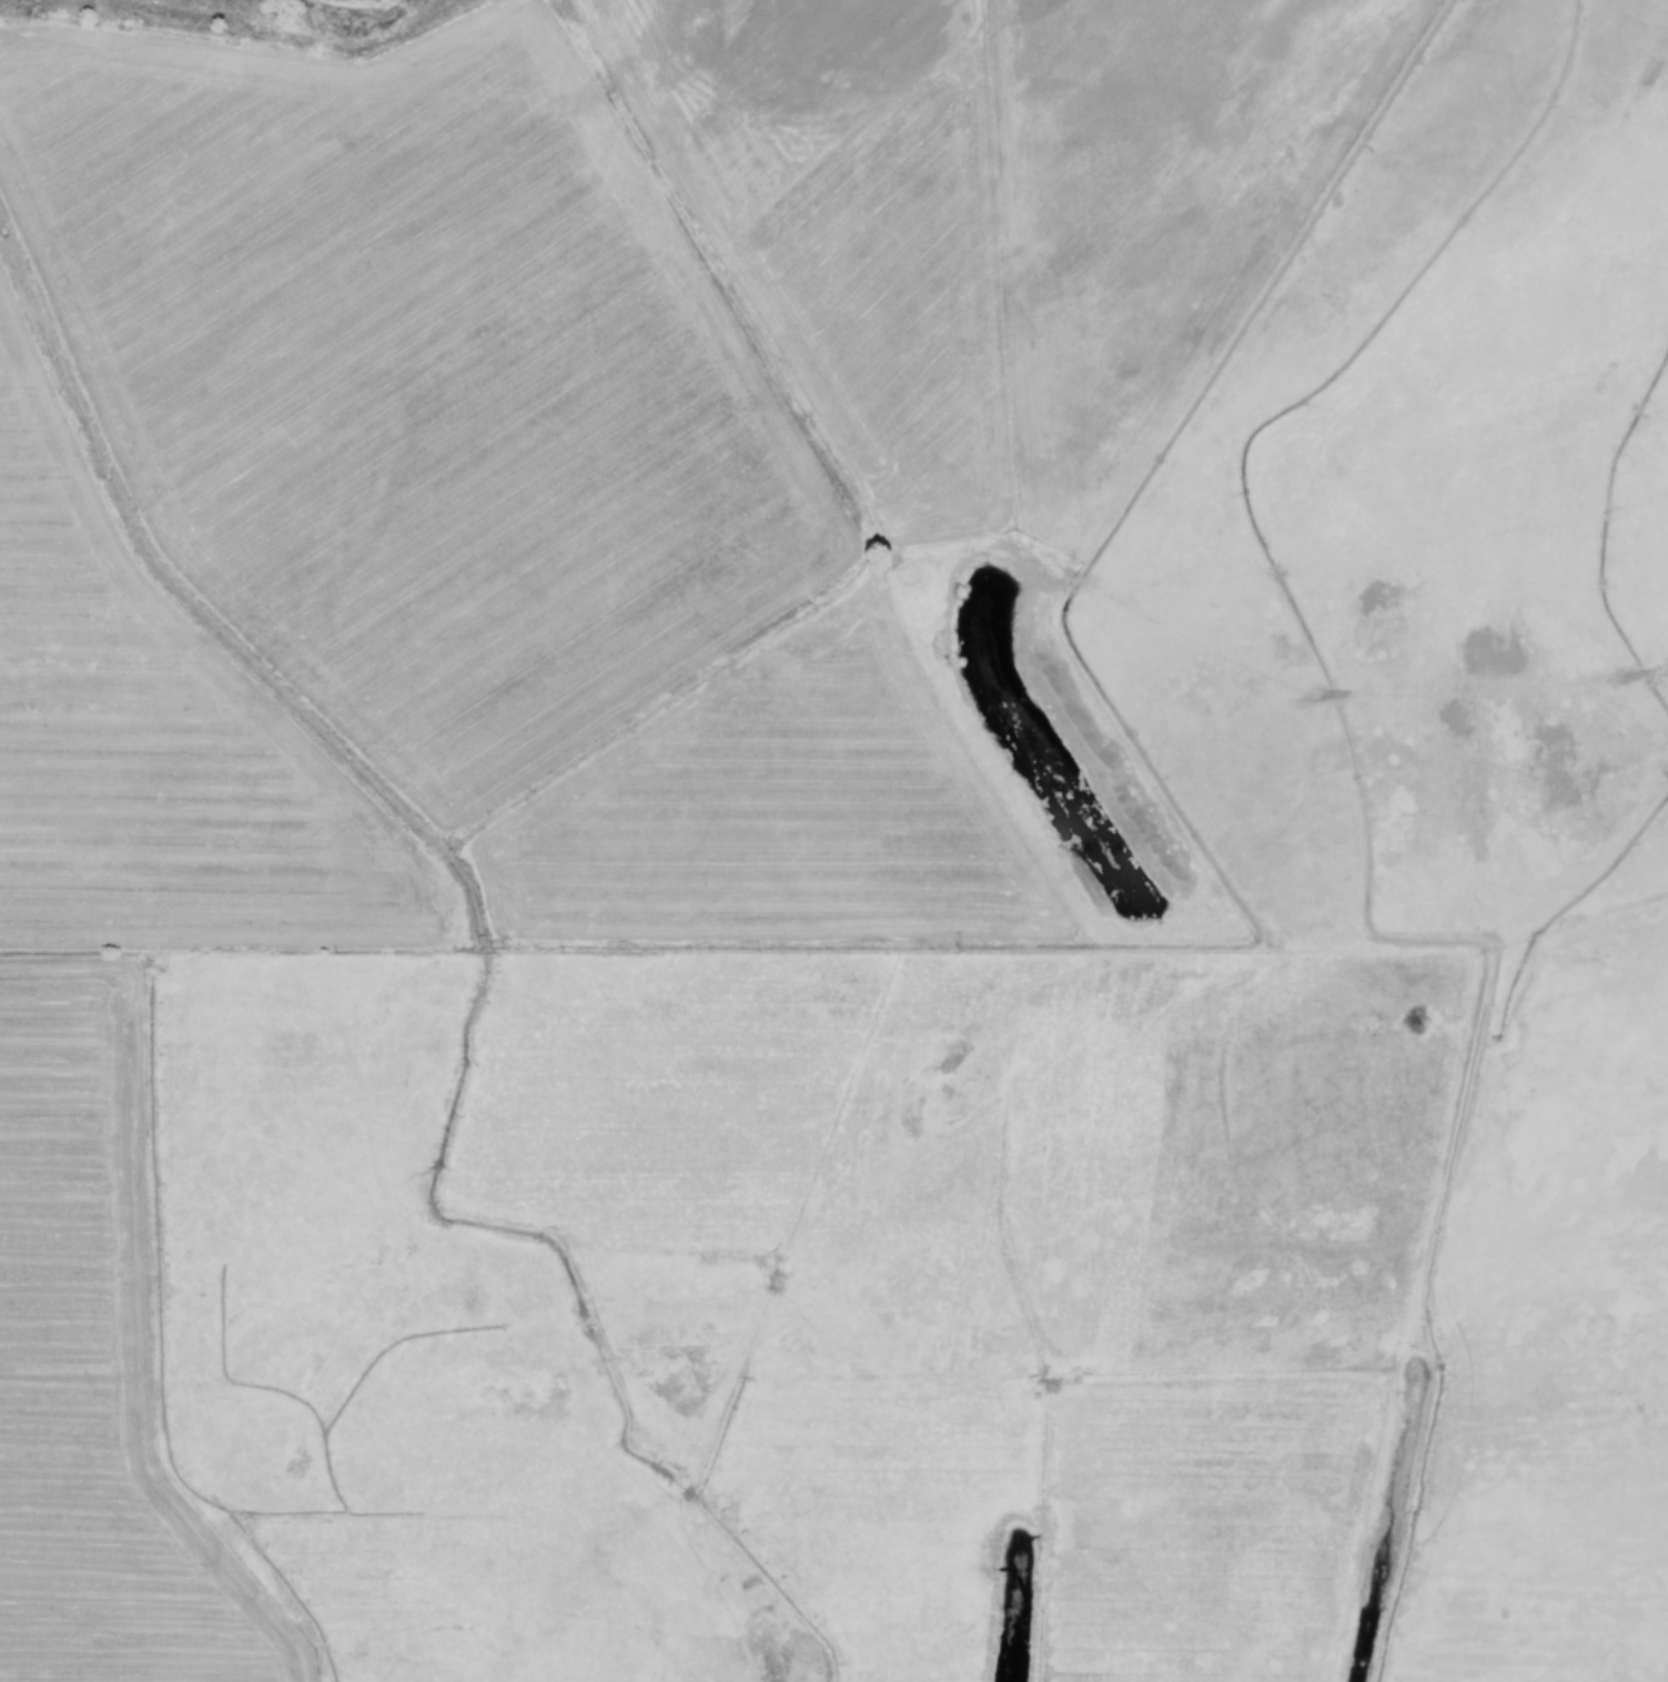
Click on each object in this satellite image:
wastewater plant: (1037, 730)
wastewater plant: (1371, 1513)
wastewater plant: (1009, 1608)

